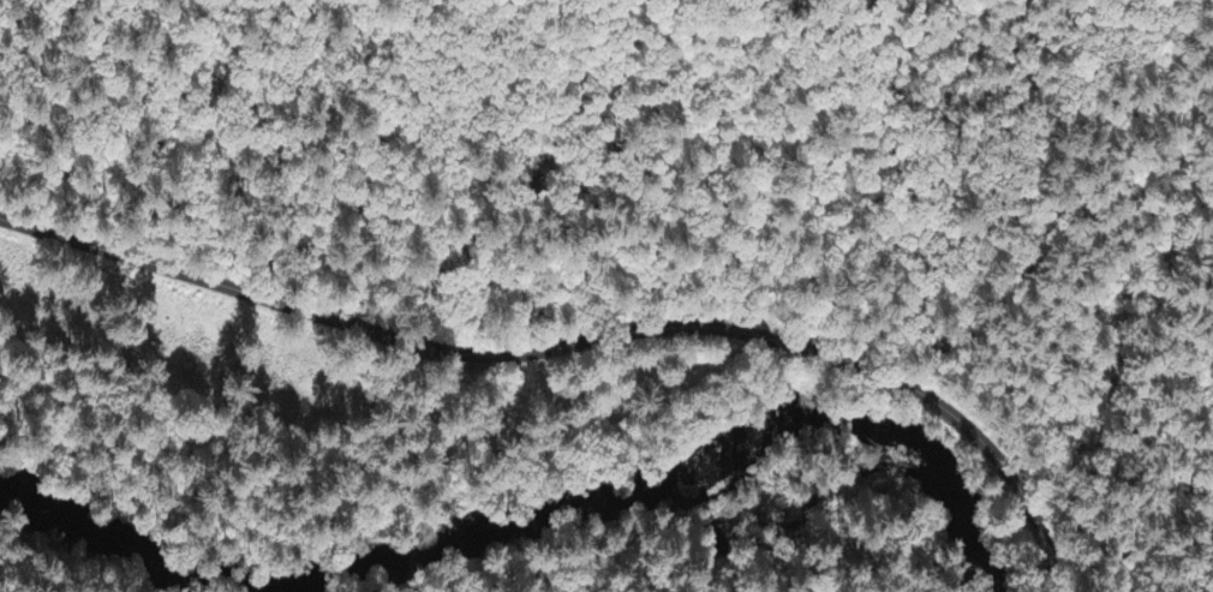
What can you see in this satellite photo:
road: (581, 342)
river: (530, 474)
road: (1, 590)

